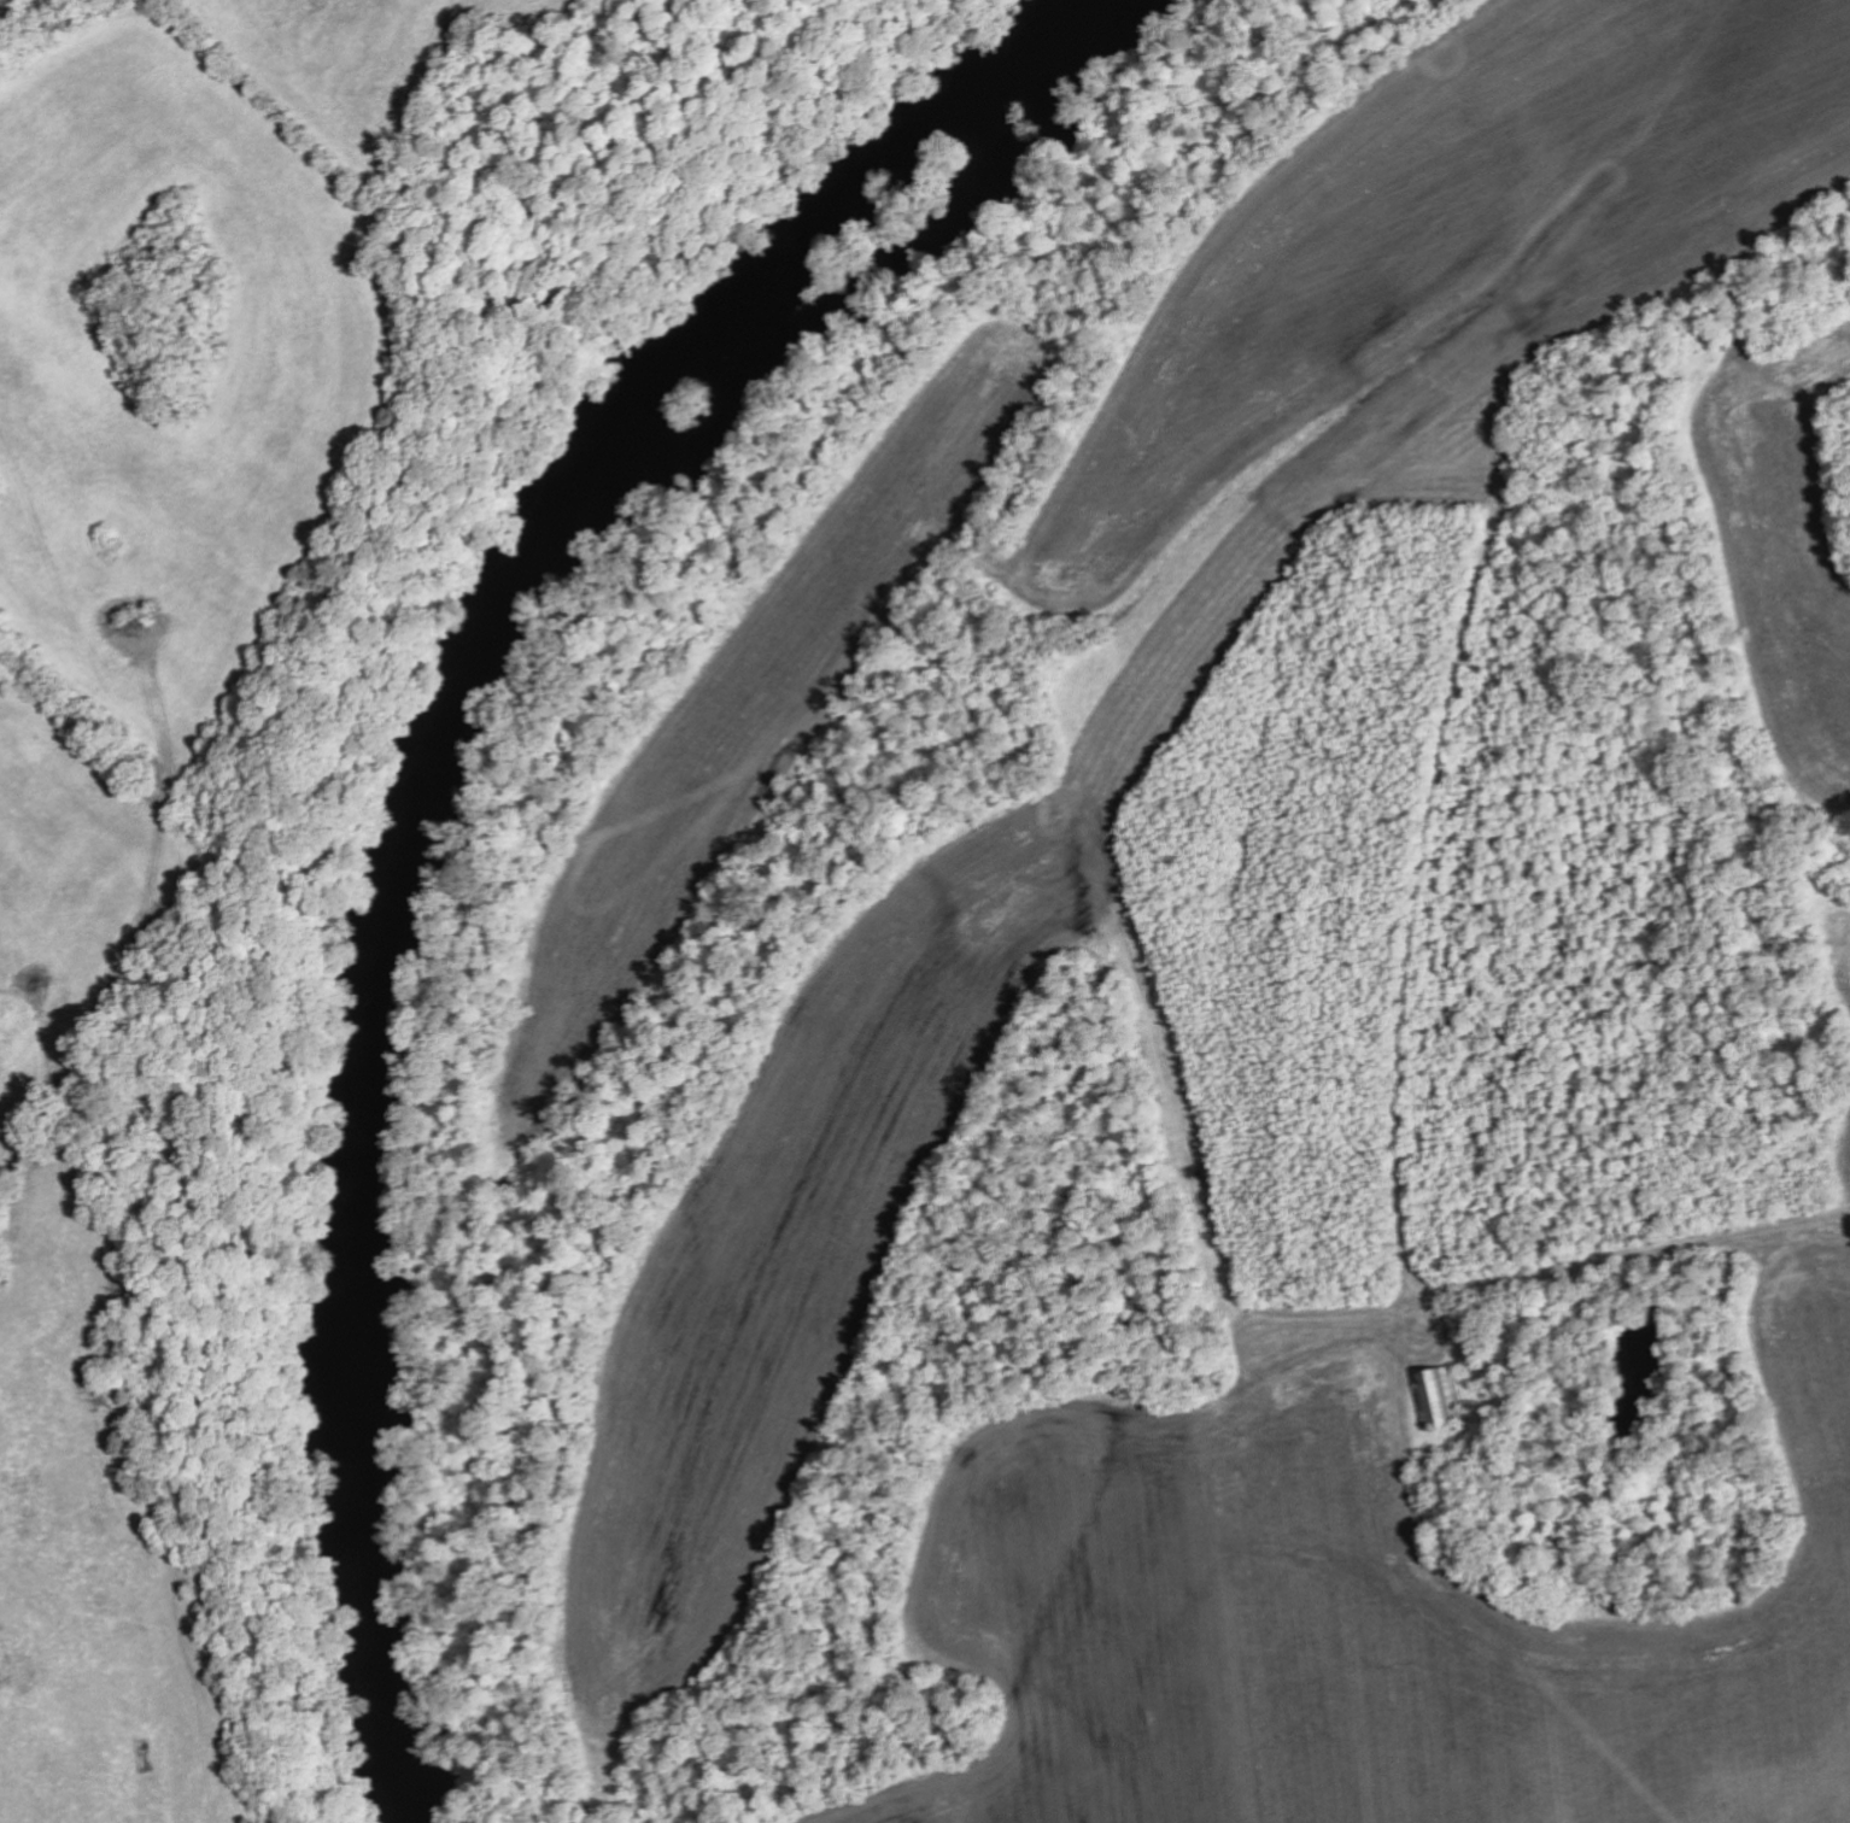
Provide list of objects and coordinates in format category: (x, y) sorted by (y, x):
river: (433, 804)
road: (1655, 1253)
building: (1436, 1397)

